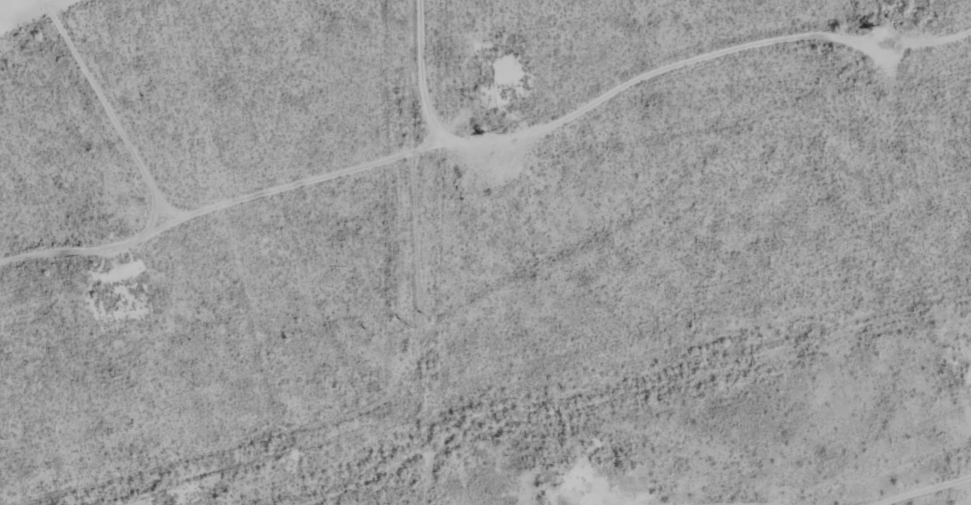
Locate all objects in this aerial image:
road: (398, 252)

